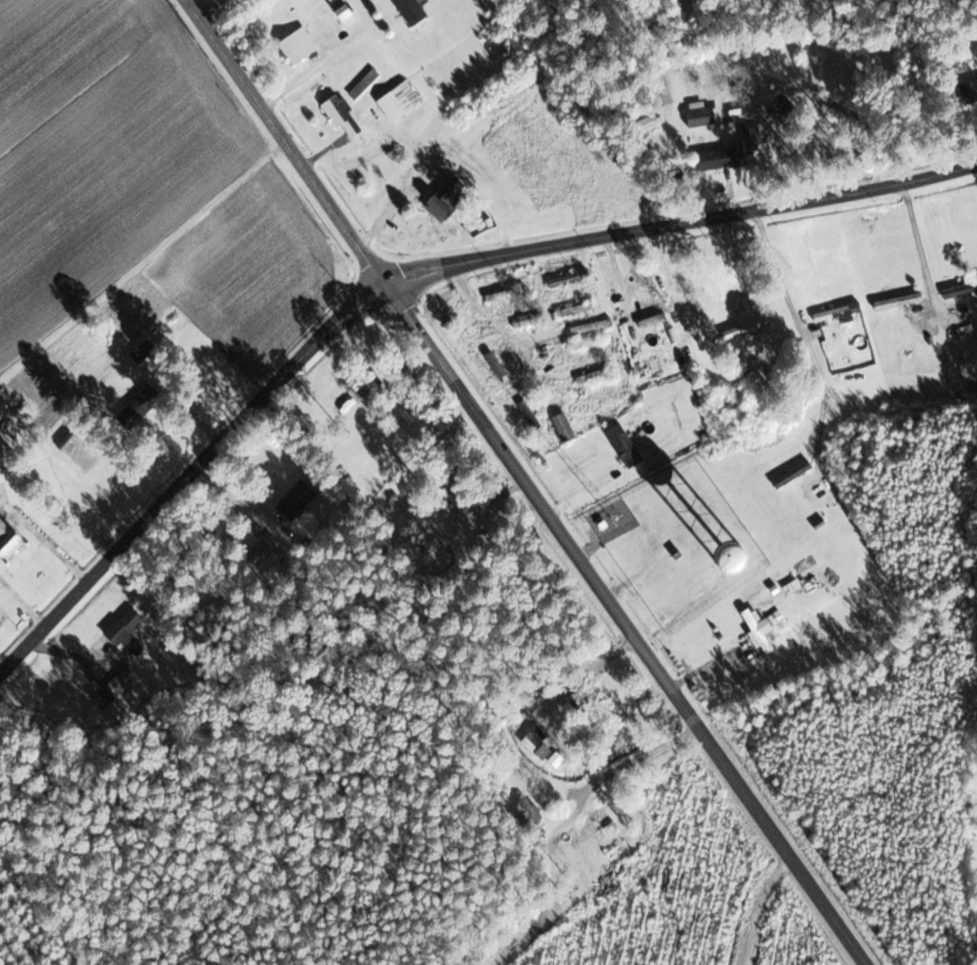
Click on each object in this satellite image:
road: (206, 7)
building: (409, 11)
building: (342, 13)
building: (296, 45)
road: (324, 60)
building: (364, 84)
building: (658, 88)
building: (968, 91)
building: (398, 101)
building: (779, 106)
building: (699, 114)
building: (340, 115)
building: (736, 115)
building: (647, 123)
building: (729, 152)
building: (444, 195)
road: (918, 241)
road: (411, 273)
building: (566, 279)
building: (960, 290)
building: (506, 293)
building: (897, 301)
building: (575, 309)
building: (651, 312)
building: (837, 312)
building: (519, 323)
road: (505, 327)
building: (745, 327)
road: (800, 331)
building: (582, 342)
building: (494, 363)
building: (655, 365)
building: (593, 375)
building: (756, 378)
building: (597, 395)
building: (531, 407)
building: (131, 413)
building: (5, 423)
building: (563, 427)
building: (623, 445)
building: (791, 474)
road: (523, 484)
building: (294, 500)
building: (462, 502)
building: (7, 542)
building: (262, 551)
building: (696, 557)
water tower: (728, 559)
building: (122, 628)
building: (756, 630)
road: (634, 758)
building: (525, 811)
building: (599, 819)
road: (762, 907)

